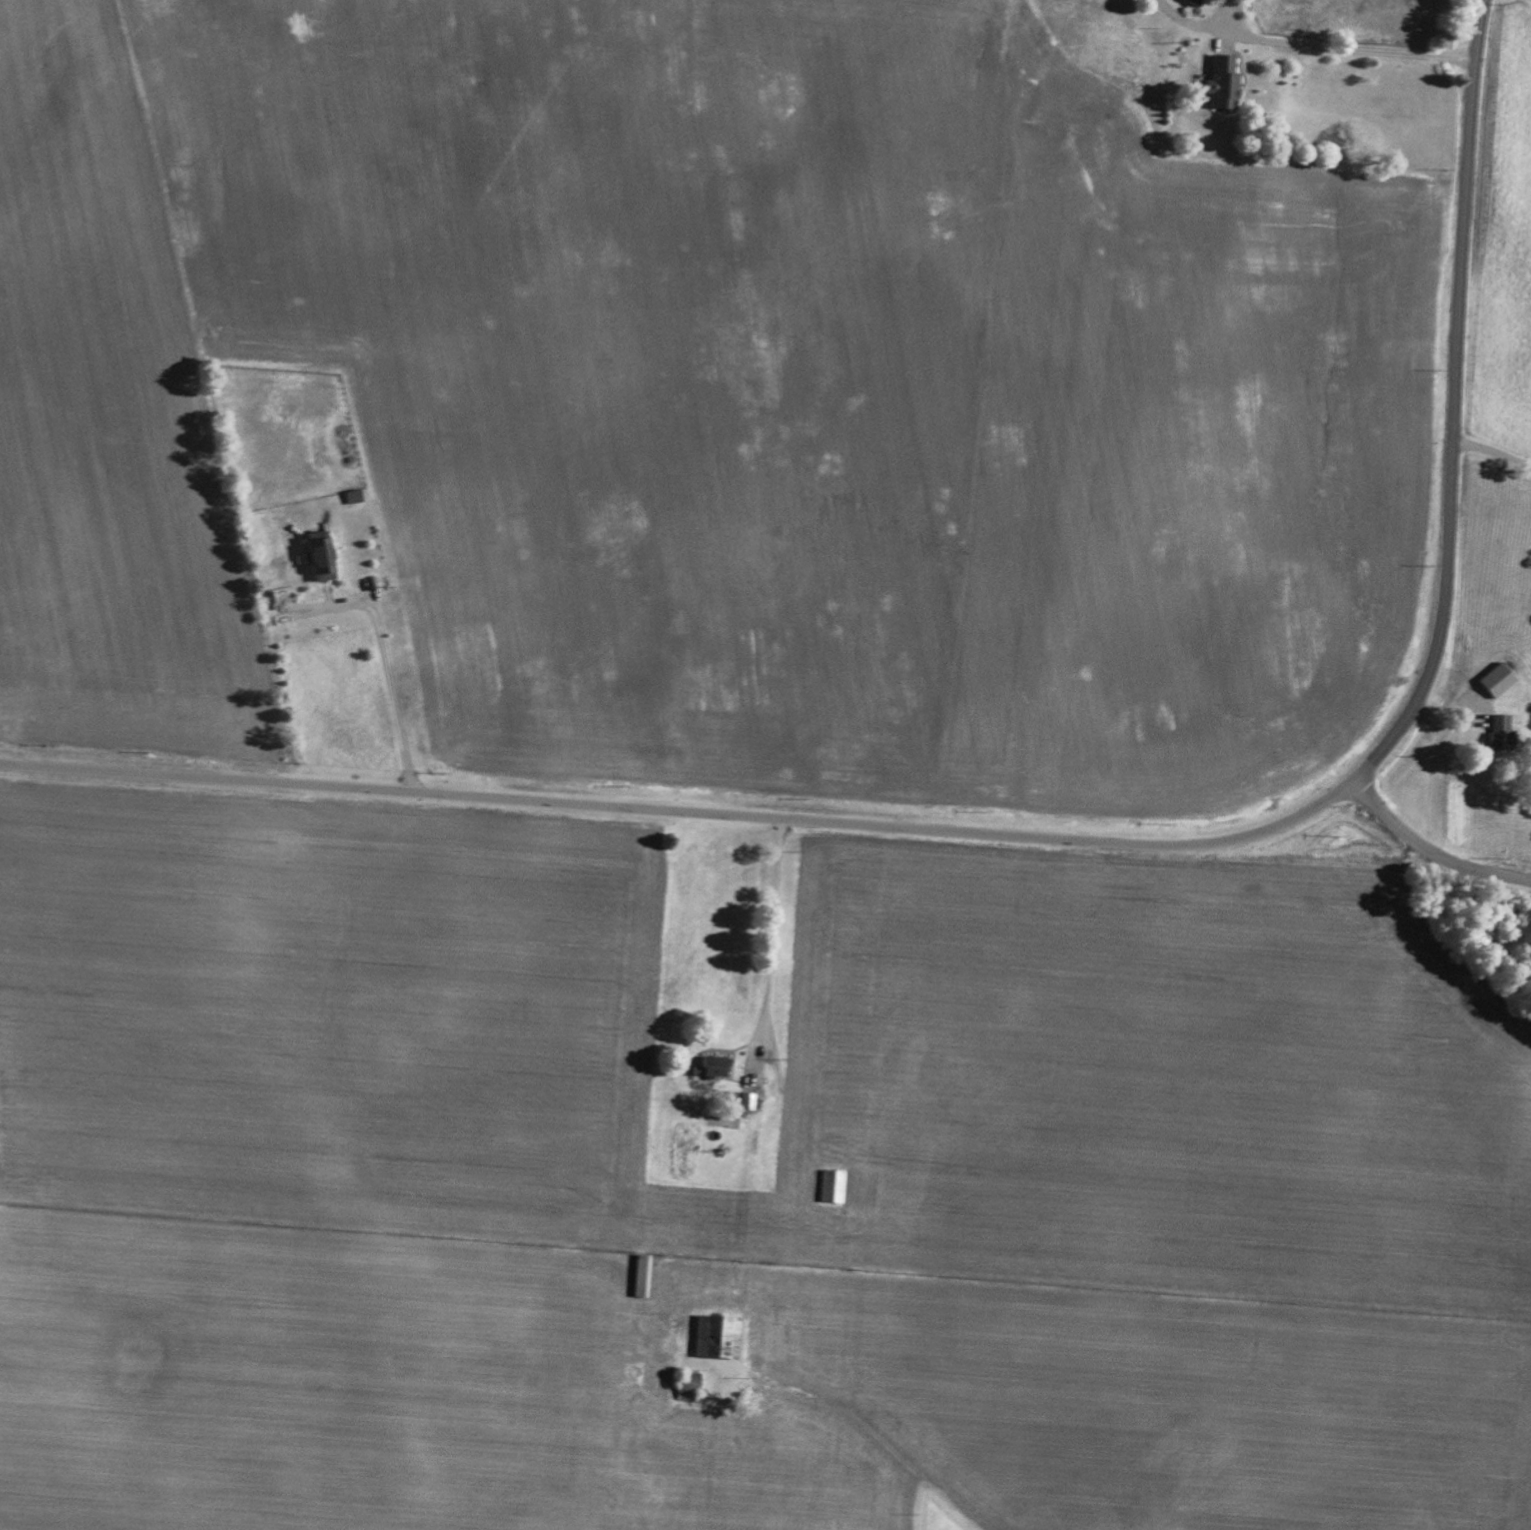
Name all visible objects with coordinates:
building: (1225, 83)
road: (1271, 136)
road: (1492, 484)
road: (1451, 501)
building: (1498, 678)
road: (690, 812)
road: (775, 945)
building: (716, 1066)
building: (835, 1185)

